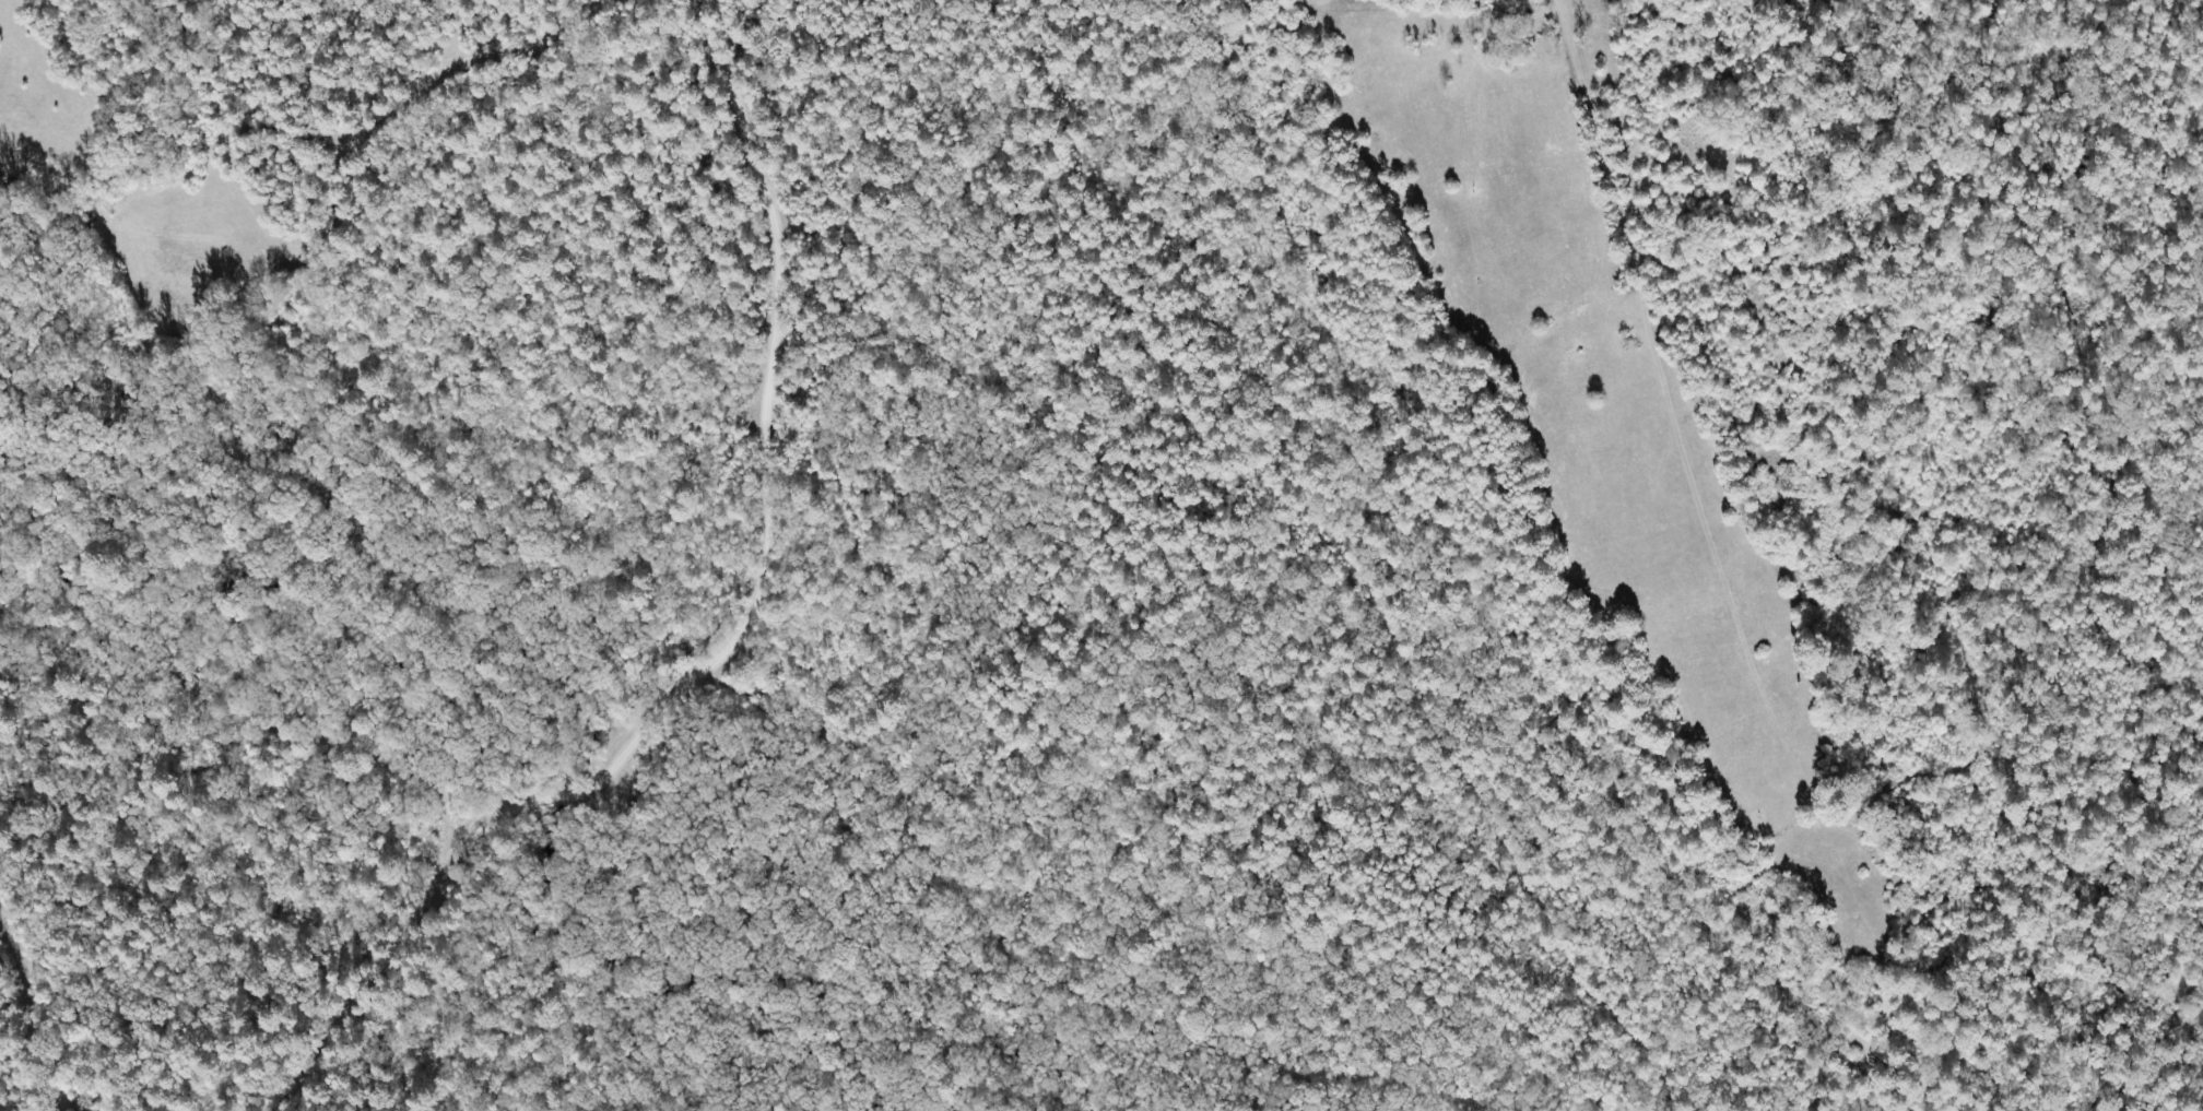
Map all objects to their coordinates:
road: (755, 489)
road: (384, 997)

